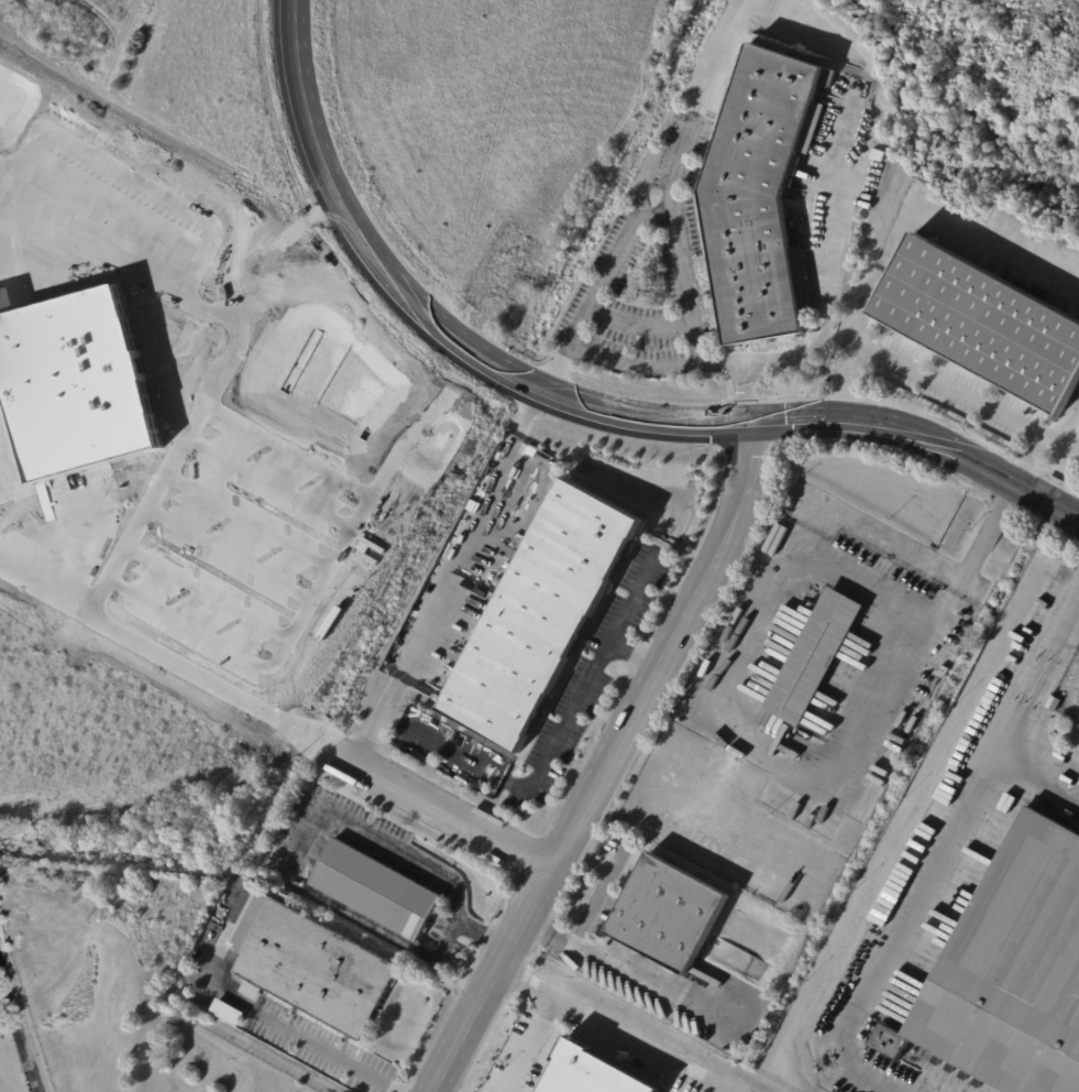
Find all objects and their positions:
building: (793, 172)
building: (761, 197)
road: (900, 227)
road: (830, 261)
road: (595, 288)
road: (689, 291)
road: (420, 317)
road: (638, 324)
building: (983, 325)
road: (632, 364)
road: (949, 384)
building: (76, 385)
road: (920, 435)
road: (1042, 438)
road: (462, 567)
road: (636, 599)
building: (541, 615)
building: (935, 651)
building: (814, 657)
building: (943, 670)
parking lot: (1069, 677)
road: (1076, 694)
building: (1053, 702)
road: (1023, 708)
parking lot: (1076, 724)
road: (368, 735)
road: (770, 758)
road: (603, 763)
road: (535, 784)
road: (431, 801)
road: (293, 869)
building: (376, 891)
building: (228, 898)
building: (668, 914)
road: (602, 953)
building: (312, 967)
building: (1010, 971)
road: (269, 1027)
road: (612, 1028)
road: (16, 1029)
road: (527, 1045)
building: (591, 1072)
road: (726, 1091)

